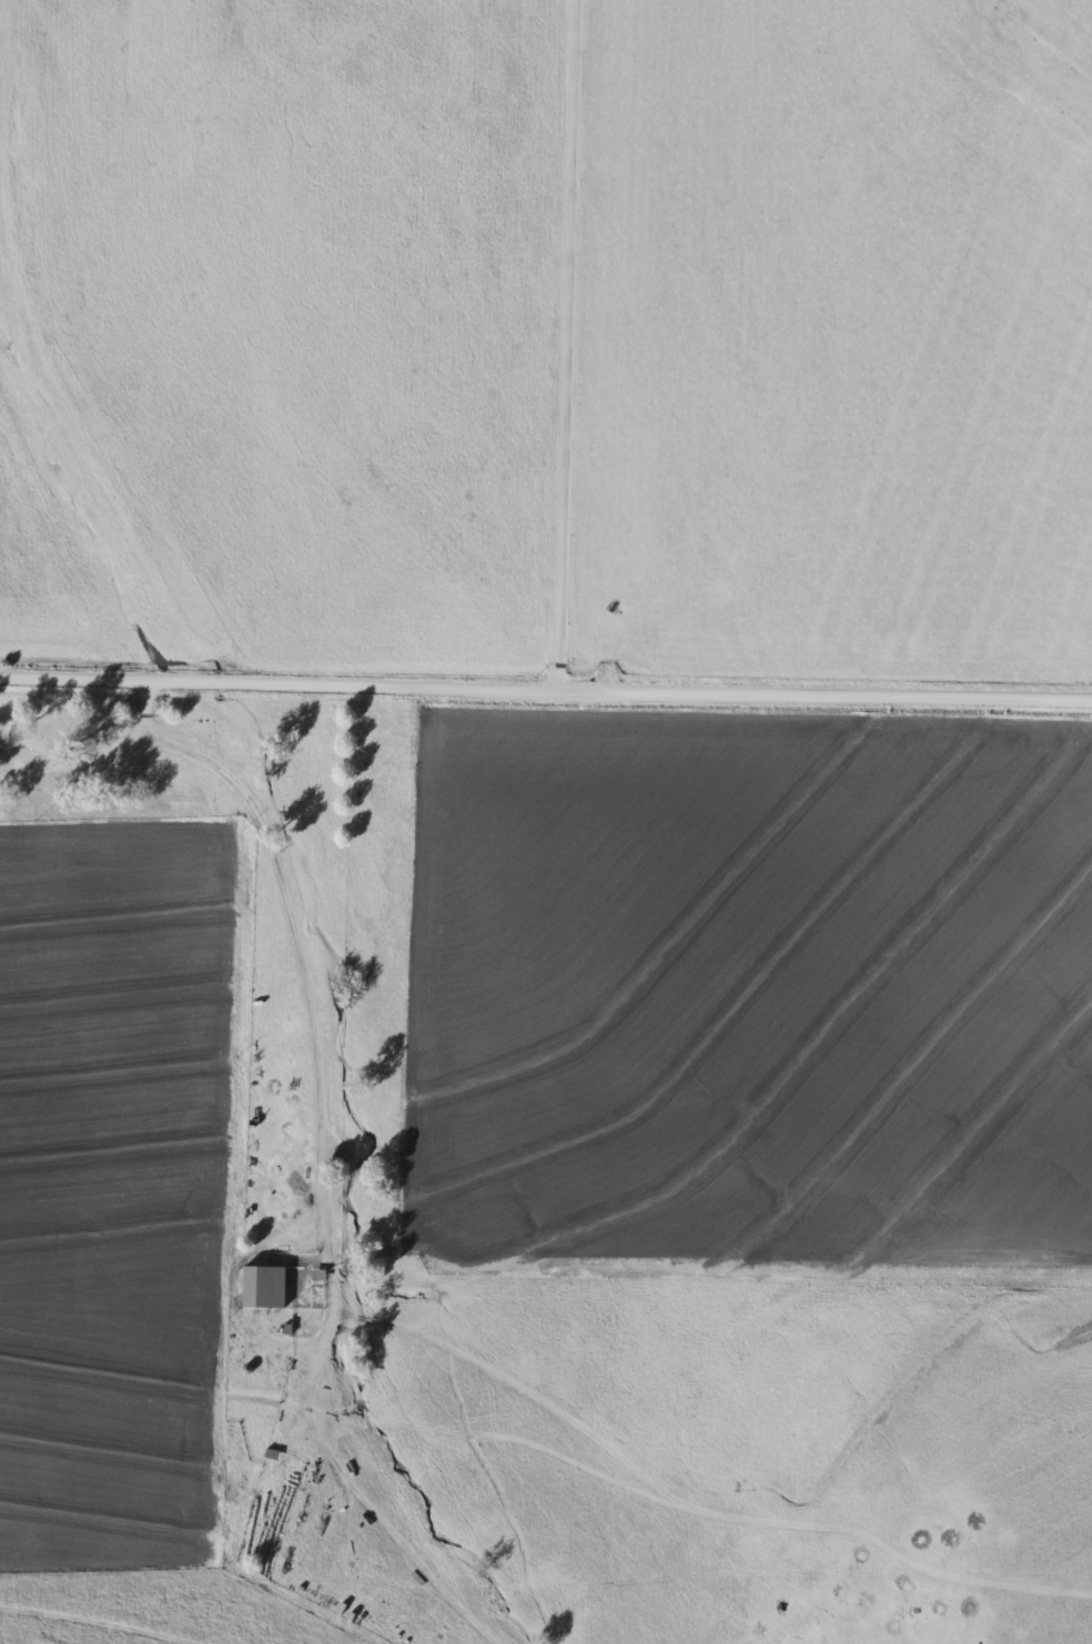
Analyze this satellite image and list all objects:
road: (567, 345)
road: (546, 689)
road: (143, 710)
road: (279, 889)
building: (264, 1288)

